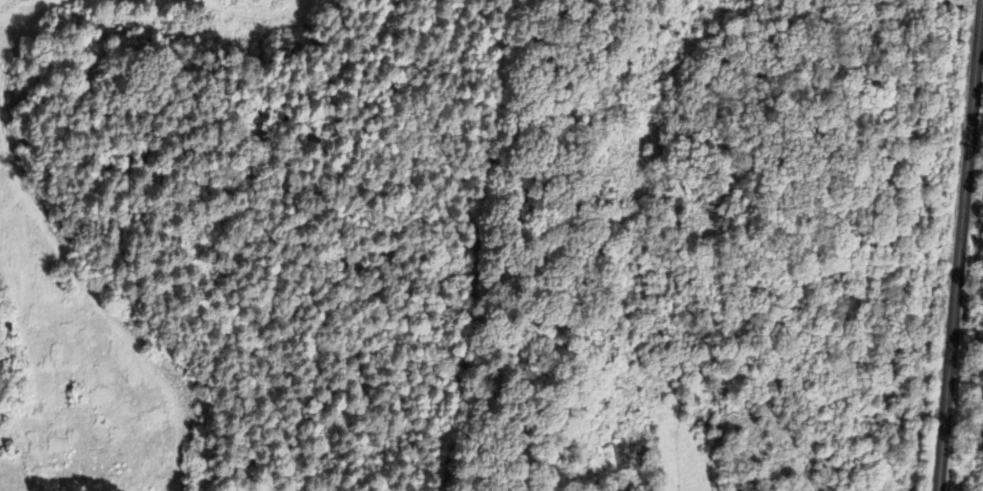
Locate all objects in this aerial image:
road: (977, 52)
road: (954, 297)
building: (602, 391)
building: (620, 449)

